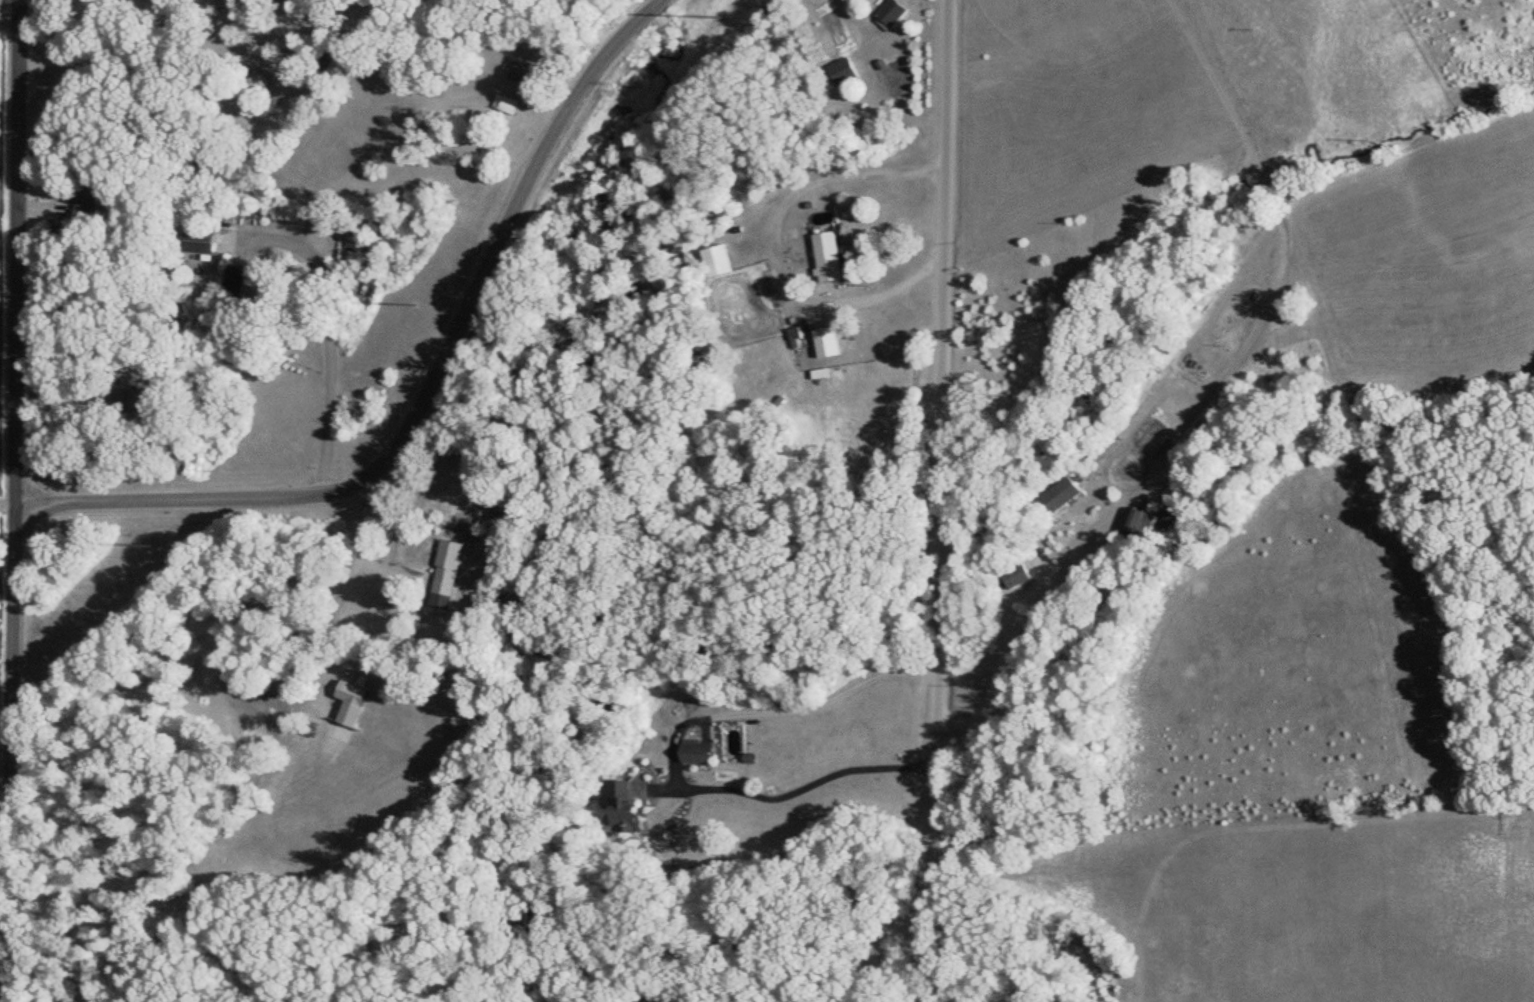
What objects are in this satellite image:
building: (520, 73)
building: (840, 73)
building: (501, 105)
building: (83, 206)
road: (776, 246)
road: (13, 253)
building: (824, 259)
road: (425, 394)
road: (932, 500)
road: (5, 501)
building: (1131, 519)
road: (363, 551)
road: (344, 597)
road: (996, 672)
road: (5, 687)
road: (2, 751)
road: (794, 788)

